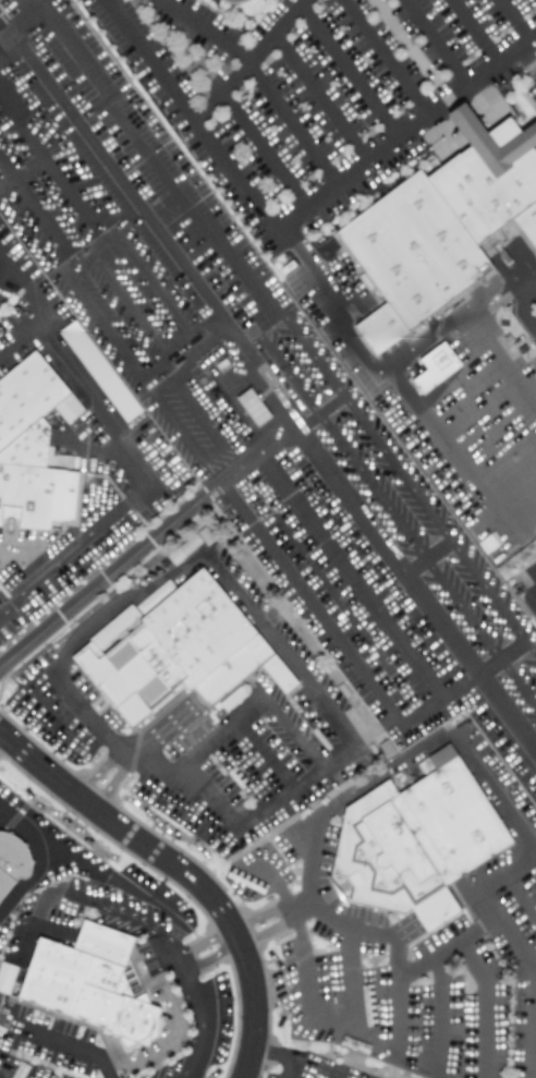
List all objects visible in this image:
road: (514, 20)
road: (2, 25)
road: (28, 25)
road: (476, 31)
road: (435, 43)
road: (72, 47)
road: (386, 57)
road: (248, 61)
road: (526, 61)
road: (348, 72)
road: (260, 80)
road: (320, 97)
road: (404, 133)
road: (263, 150)
road: (46, 161)
road: (21, 172)
road: (242, 187)
road: (157, 201)
road: (31, 213)
road: (151, 225)
building: (442, 230)
road: (83, 257)
road: (204, 265)
road: (5, 268)
road: (146, 277)
road: (527, 280)
road: (533, 281)
road: (27, 286)
road: (125, 302)
road: (520, 304)
road: (451, 319)
road: (202, 322)
road: (112, 335)
road: (175, 341)
road: (163, 354)
road: (501, 354)
road: (200, 356)
building: (435, 367)
building: (99, 371)
road: (328, 377)
road: (205, 425)
building: (29, 447)
road: (443, 450)
road: (137, 469)
road: (520, 518)
road: (168, 528)
road: (427, 557)
road: (425, 558)
road: (350, 577)
road: (415, 588)
road: (534, 591)
road: (313, 603)
road: (77, 637)
road: (281, 651)
building: (181, 652)
road: (464, 683)
road: (296, 728)
road: (158, 729)
road: (198, 748)
road: (261, 754)
road: (395, 762)
road: (96, 771)
road: (112, 784)
road: (295, 786)
road: (208, 794)
road: (28, 837)
building: (421, 843)
building: (12, 863)
road: (497, 872)
road: (182, 873)
road: (118, 876)
road: (25, 880)
road: (517, 896)
road: (42, 904)
road: (263, 916)
road: (131, 917)
road: (346, 926)
road: (47, 929)
road: (269, 929)
road: (404, 932)
road: (503, 936)
road: (203, 941)
road: (444, 949)
road: (13, 955)
road: (211, 957)
building: (5, 977)
road: (349, 978)
building: (93, 984)
road: (393, 991)
road: (486, 1003)
road: (438, 1008)
road: (203, 1025)
road: (344, 1028)
road: (65, 1044)
road: (534, 1051)
road: (287, 1053)
road: (329, 1070)

